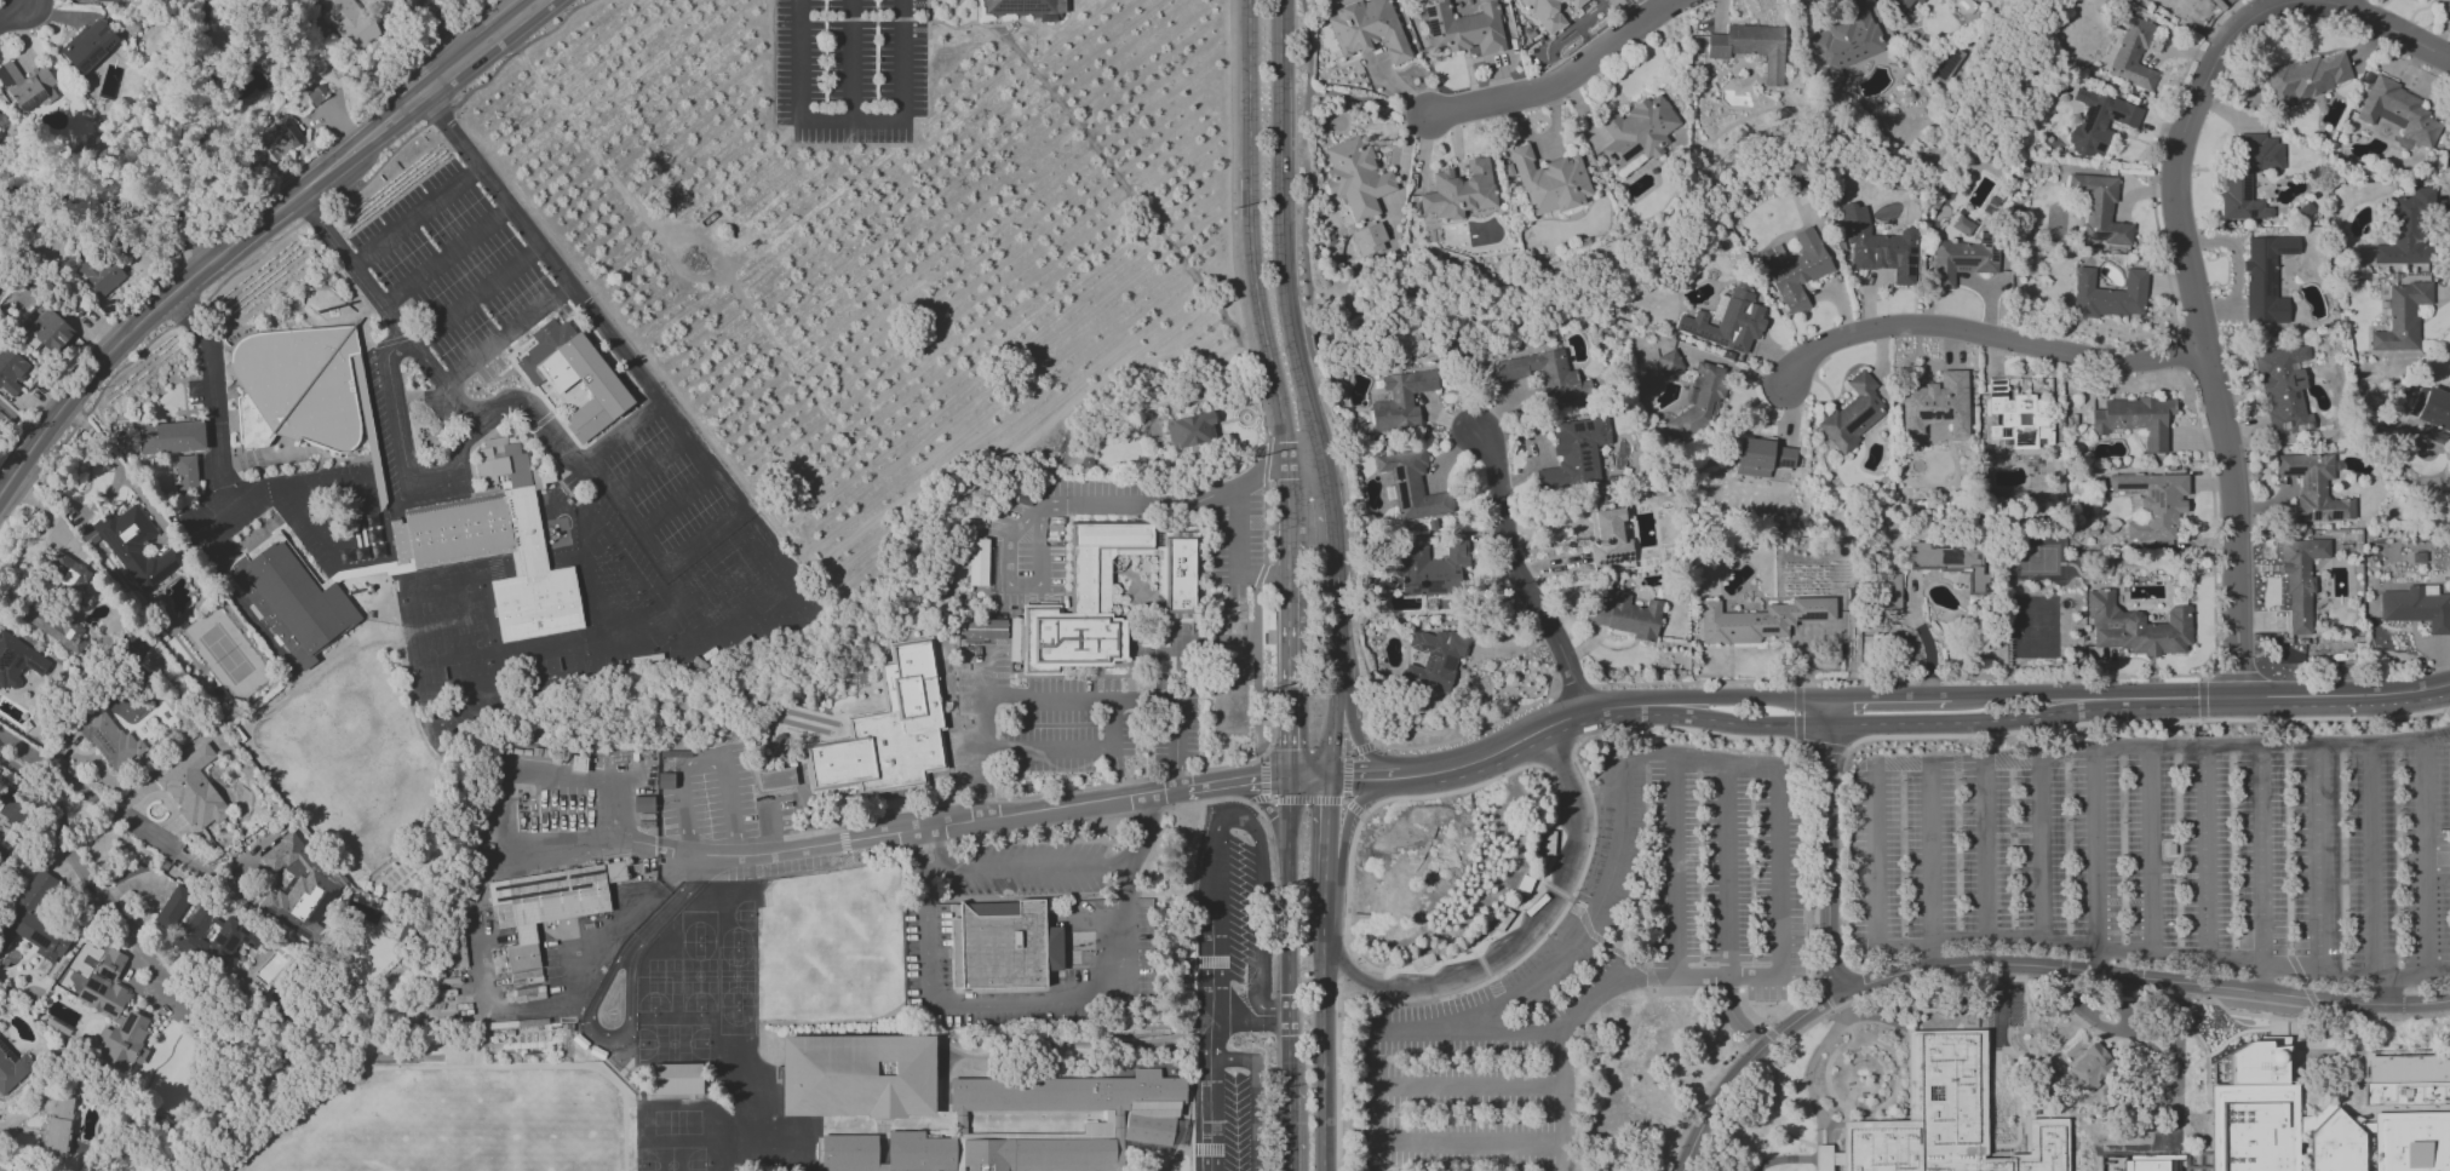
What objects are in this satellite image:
building: (104, 0)
road: (929, 0)
rooftop solar panel: (1010, 4)
rooftop solar panel: (1028, 4)
building: (1899, 4)
building: (2176, 6)
building: (1026, 7)
road: (929, 10)
rooftop solar panel: (1429, 11)
building: (1549, 13)
road: (22, 17)
building: (348, 22)
road: (945, 25)
rooftop solar panel: (127, 27)
rooftop solar panel: (1431, 27)
building: (1464, 28)
road: (929, 29)
building: (1366, 29)
road: (2391, 29)
road: (441, 31)
rooftop solar panel: (107, 44)
building: (1842, 44)
building: (87, 45)
building: (1751, 47)
building: (2130, 52)
road: (513, 53)
road: (850, 59)
rooftop solar panel: (1944, 67)
parking lot: (850, 69)
building: (2306, 78)
building: (27, 86)
road: (1563, 86)
road: (1352, 101)
building: (2398, 111)
road: (849, 121)
building: (2098, 121)
building: (1636, 131)
building: (279, 142)
road: (583, 142)
rooftop solar panel: (1628, 153)
road: (1006, 177)
building: (1796, 177)
building: (1355, 178)
building: (2239, 180)
road: (1121, 182)
building: (1551, 182)
rooftop solar panel: (2248, 184)
building: (1458, 191)
building: (2100, 208)
road: (417, 217)
building: (2406, 229)
road: (251, 231)
rooftop solar panel: (2095, 236)
building: (1367, 240)
building: (1878, 246)
road: (168, 251)
road: (447, 258)
building: (1961, 260)
parking lot: (452, 264)
rooftop solar panel: (1962, 264)
road: (352, 266)
road: (679, 268)
building: (1796, 270)
building: (99, 274)
building: (2265, 279)
building: (2108, 294)
road: (476, 297)
road: (583, 300)
parking lot: (556, 311)
road: (2197, 314)
building: (2400, 317)
road: (1260, 318)
building: (1726, 321)
building: (46, 333)
road: (504, 333)
rooftop solar panel: (1704, 335)
road: (1986, 335)
road: (1290, 338)
road: (1255, 343)
parking lot: (512, 344)
rooftop solar panel: (1738, 348)
building: (1669, 362)
rooftop solar panel: (2291, 367)
building: (12, 372)
road: (1315, 373)
building: (575, 374)
building: (1543, 374)
rooftop solar panel: (2290, 378)
road: (213, 385)
parking lot: (483, 388)
building: (298, 389)
building: (2283, 389)
rooftop solar panel: (2294, 396)
building: (1400, 400)
road: (454, 402)
building: (1700, 402)
building: (1937, 404)
parking lot: (440, 408)
road: (22, 413)
building: (1853, 413)
building: (2431, 413)
rooftop solar panel: (1932, 414)
rooftop solar panel: (1860, 417)
building: (2018, 417)
building: (2134, 419)
parking lot: (379, 420)
road: (398, 426)
building: (1189, 430)
rooftop solar panel: (2006, 434)
building: (171, 437)
road: (1532, 444)
road: (563, 446)
building: (1574, 454)
building: (1761, 458)
rooftop solar panel: (1785, 463)
road: (650, 466)
rooftop solar panel: (2293, 470)
building: (184, 475)
rooftop solar panel: (1398, 476)
rooftop solar panel: (2307, 482)
road: (900, 483)
parking lot: (664, 486)
building: (1411, 486)
parking lot: (576, 487)
rooftop solar panel: (2128, 487)
road: (293, 488)
building: (2313, 488)
rooftop solar panel: (2153, 496)
rooftop solar panel: (1400, 498)
building: (2153, 503)
road: (677, 504)
road: (1167, 509)
parking lot: (190, 510)
road: (625, 510)
rooftop solar panel: (2334, 515)
rooftop solar panel: (2313, 516)
rooftop solar panel: (2303, 517)
parking lot: (237, 527)
building: (372, 528)
rooftop solar panel: (136, 532)
parking lot: (1043, 535)
rooftop solar panel: (133, 538)
road: (701, 538)
building: (1608, 538)
rooftop solar panel: (111, 541)
park: (601, 541)
building: (498, 545)
building: (132, 546)
parking lot: (1238, 546)
road: (1237, 558)
building: (977, 562)
building: (1949, 563)
building: (1430, 569)
park: (725, 570)
road: (1519, 573)
park: (624, 575)
building: (68, 576)
building: (1177, 576)
building: (2300, 579)
building: (1086, 582)
road: (1020, 585)
rooftop solar panel: (1427, 587)
park: (437, 596)
building: (291, 599)
building: (2416, 607)
building: (1625, 615)
rooftop solar panel: (1807, 619)
park: (655, 620)
building: (1760, 620)
building: (48, 624)
building: (2136, 627)
building: (983, 628)
road: (717, 633)
park: (424, 639)
building: (1015, 639)
building: (1069, 641)
park: (449, 648)
park: (226, 654)
rooftop solar panel: (1431, 658)
building: (1434, 659)
building: (18, 661)
park: (558, 664)
rooftop solar panel: (1436, 666)
park: (443, 672)
road: (985, 676)
road: (2230, 677)
road: (1893, 679)
road: (1571, 685)
road: (2345, 698)
road: (2201, 699)
road: (1124, 701)
road: (1286, 705)
road: (1887, 706)
parking lot: (1062, 721)
road: (2141, 721)
road: (1333, 723)
road: (1682, 729)
building: (888, 731)
road: (1470, 734)
road: (1797, 735)
building: (108, 739)
rooftop solar panel: (103, 745)
road: (1362, 747)
road: (1364, 747)
road: (2357, 747)
road: (1073, 748)
road: (2249, 748)
traffic signals: (1287, 752)
road: (1490, 754)
road: (2112, 756)
road: (1553, 757)
road: (985, 759)
road: (706, 760)
road: (2004, 763)
road: (1910, 764)
road: (1515, 769)
road: (1308, 775)
traffic signals: (1352, 775)
road: (1383, 775)
traffic signals: (1261, 776)
road: (1266, 776)
road: (1347, 777)
building: (775, 779)
road: (1232, 780)
building: (193, 790)
road: (1257, 802)
road: (1306, 802)
parking lot: (721, 804)
road: (1263, 807)
traffic signals: (1327, 807)
road: (1354, 809)
road: (1778, 814)
road: (1352, 816)
road: (124, 819)
road: (1217, 826)
road: (925, 830)
road: (1578, 830)
road: (771, 831)
road: (589, 840)
road: (1326, 842)
road: (2425, 845)
road: (1826, 853)
road: (1032, 867)
parking lot: (1029, 869)
road: (1675, 872)
road: (81, 873)
rooftop solar panel: (581, 873)
rooftop solar panel: (526, 883)
rooftop solar panel: (576, 886)
building: (296, 888)
rooftop solar panel: (538, 892)
road: (672, 901)
road: (1566, 905)
building: (171, 907)
parking lot: (1240, 908)
road: (1622, 908)
park: (827, 913)
road: (1727, 913)
park: (744, 915)
building: (34, 919)
park: (699, 926)
road: (1325, 926)
park: (736, 937)
road: (1596, 937)
rooftop solar panel: (40, 938)
building: (212, 938)
road: (1517, 945)
building: (998, 946)
road: (2163, 954)
road: (1286, 955)
road: (1346, 964)
road: (1481, 964)
rooftop solar panel: (115, 966)
road: (2073, 970)
road: (1474, 974)
rooftop solar panel: (107, 975)
road: (1355, 975)
road: (578, 976)
park: (672, 976)
park: (700, 976)
park: (725, 976)
park: (736, 976)
park: (745, 976)
park: (654, 977)
park: (689, 977)
park: (706, 977)
park: (828, 980)
rooftop solar panel: (90, 983)
building: (104, 986)
rooftop solar panel: (102, 988)
road: (1423, 989)
road: (1686, 992)
road: (1728, 992)
park: (654, 994)
rooftop solar panel: (86, 995)
road: (1043, 1005)
rooftop solar panel: (109, 1009)
road: (1749, 1012)
road: (1998, 1017)
rooftop solar panel: (127, 1021)
park: (738, 1021)
parking lot: (2004, 1021)
road: (1401, 1035)
road: (606, 1038)
road: (1774, 1038)
building: (124, 1041)
park: (673, 1044)
rooftop solar panel: (4, 1055)
road: (1324, 1057)
road: (2161, 1062)
building: (2090, 1068)
building: (12, 1069)
building: (2219, 1072)
building: (857, 1075)
building: (677, 1079)
building: (2406, 1080)
road: (1212, 1089)
road: (1470, 1089)
building: (1067, 1092)
road: (1257, 1095)
road: (1774, 1104)
road: (21, 1114)
park: (441, 1118)
building: (1946, 1118)
park: (676, 1123)
parking lot: (1235, 1123)
road: (1703, 1123)
building: (58, 1124)
building: (2254, 1127)
building: (1148, 1131)
road: (1470, 1142)
building: (2412, 1142)
building: (2336, 1144)
building: (922, 1150)
building: (850, 1154)
road: (1286, 1154)
road: (1290, 1154)
building: (1039, 1155)
park: (283, 1156)
park: (672, 1159)
building: (2136, 1160)
road: (1780, 1161)
building: (2, 1169)

